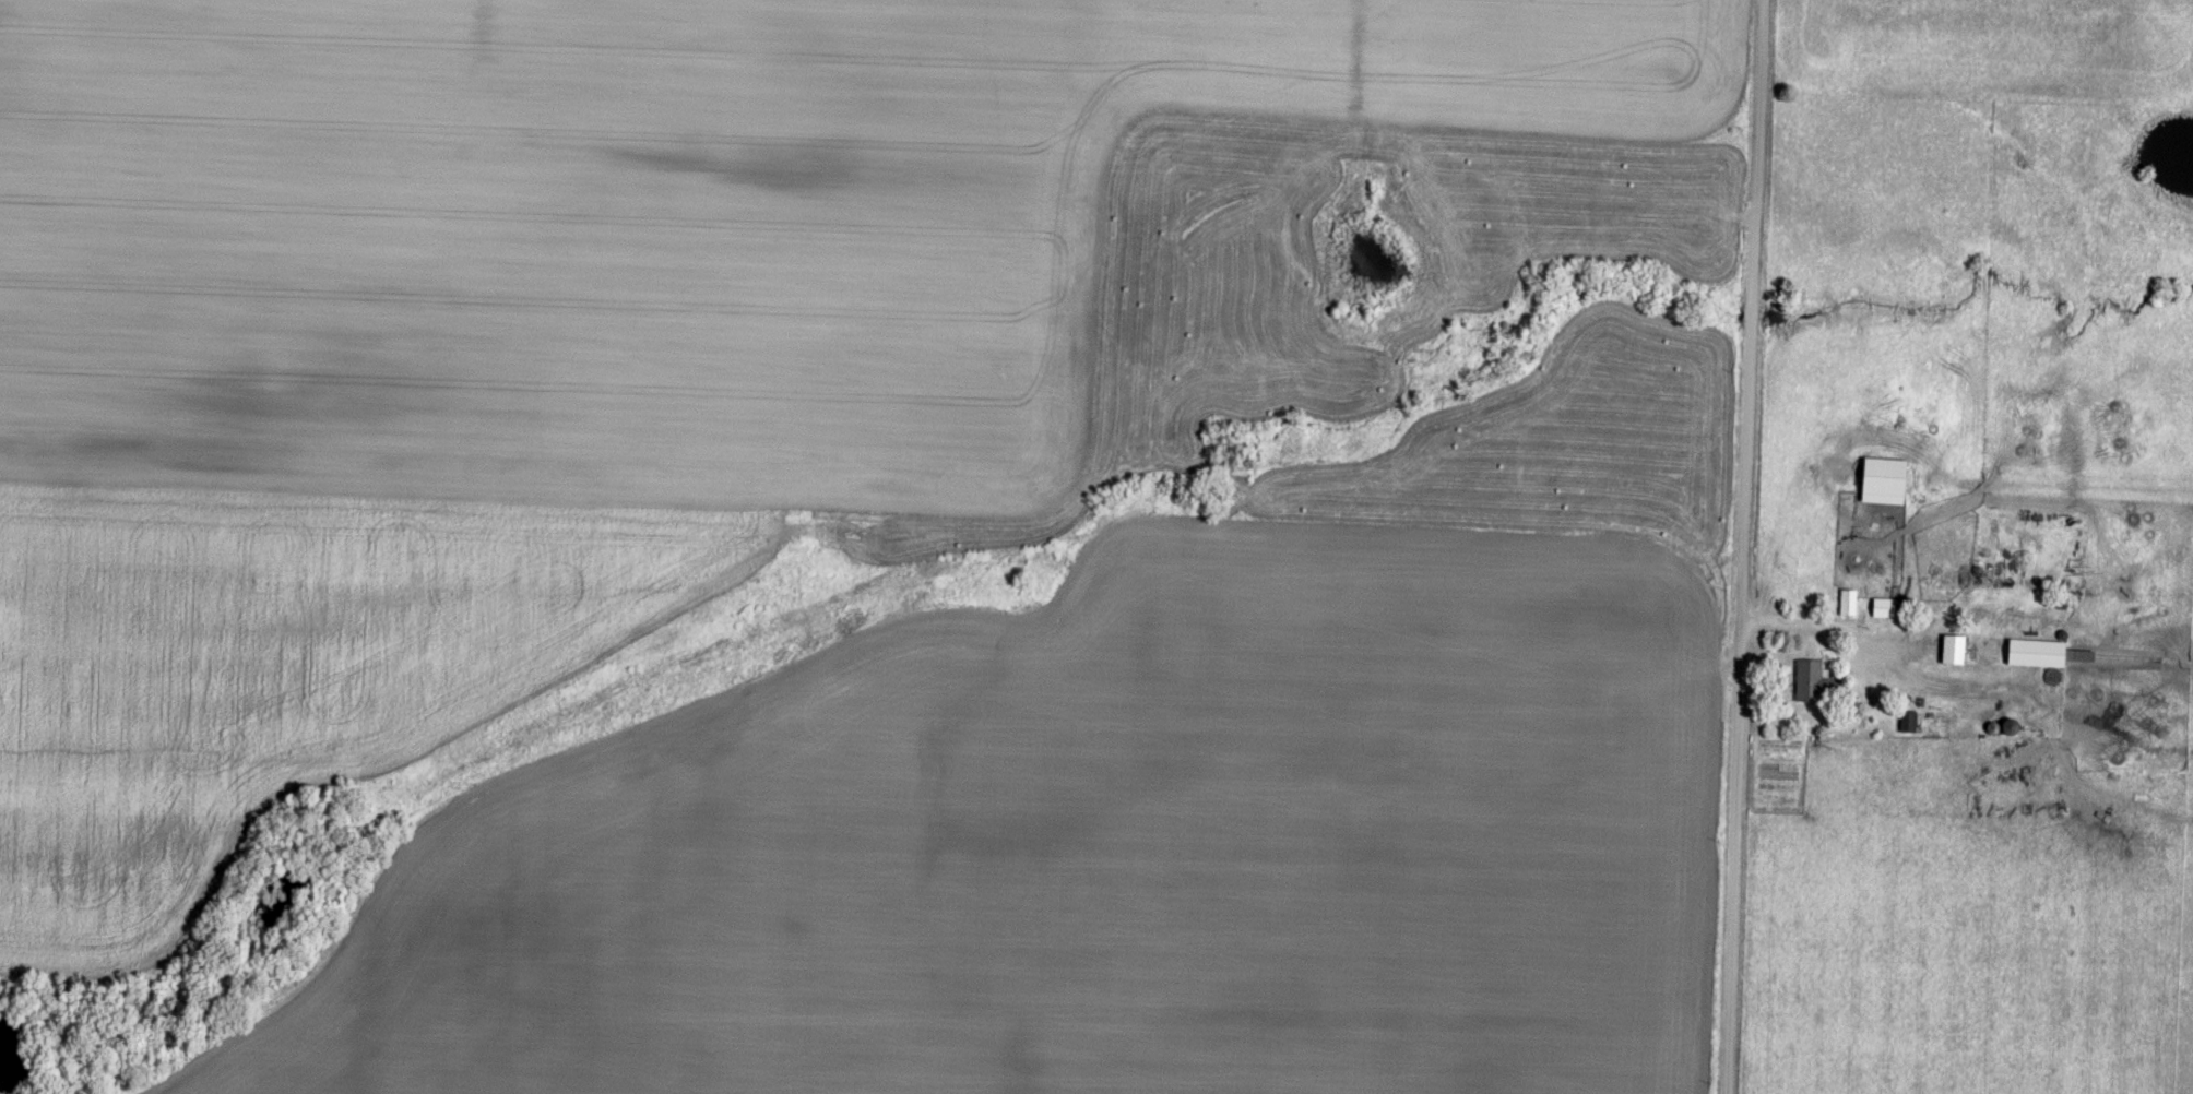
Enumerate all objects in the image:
building: (1882, 477)
road: (1786, 530)
road: (1745, 547)
building: (1847, 598)
building: (1952, 646)
building: (2042, 650)
road: (1885, 653)
building: (1810, 677)
building: (1907, 718)

